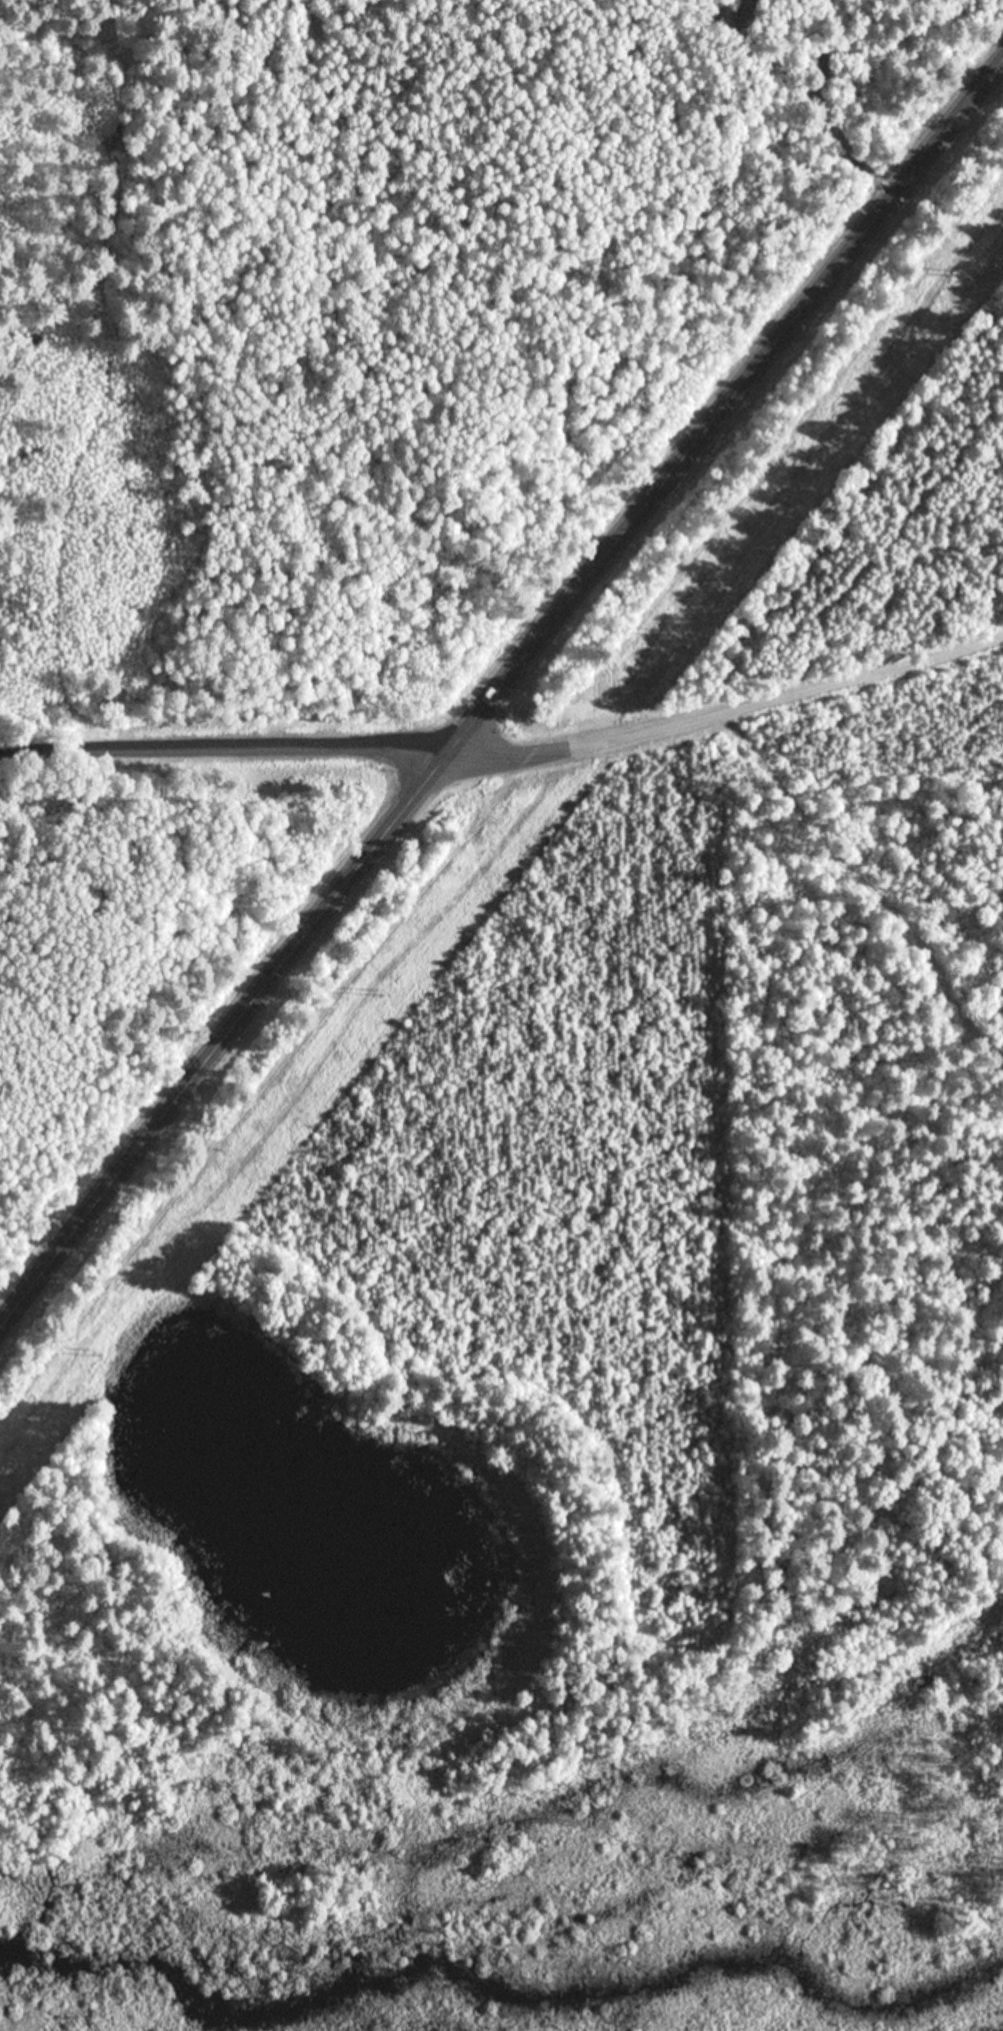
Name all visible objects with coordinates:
road: (496, 684)
road: (728, 713)
road: (222, 746)

